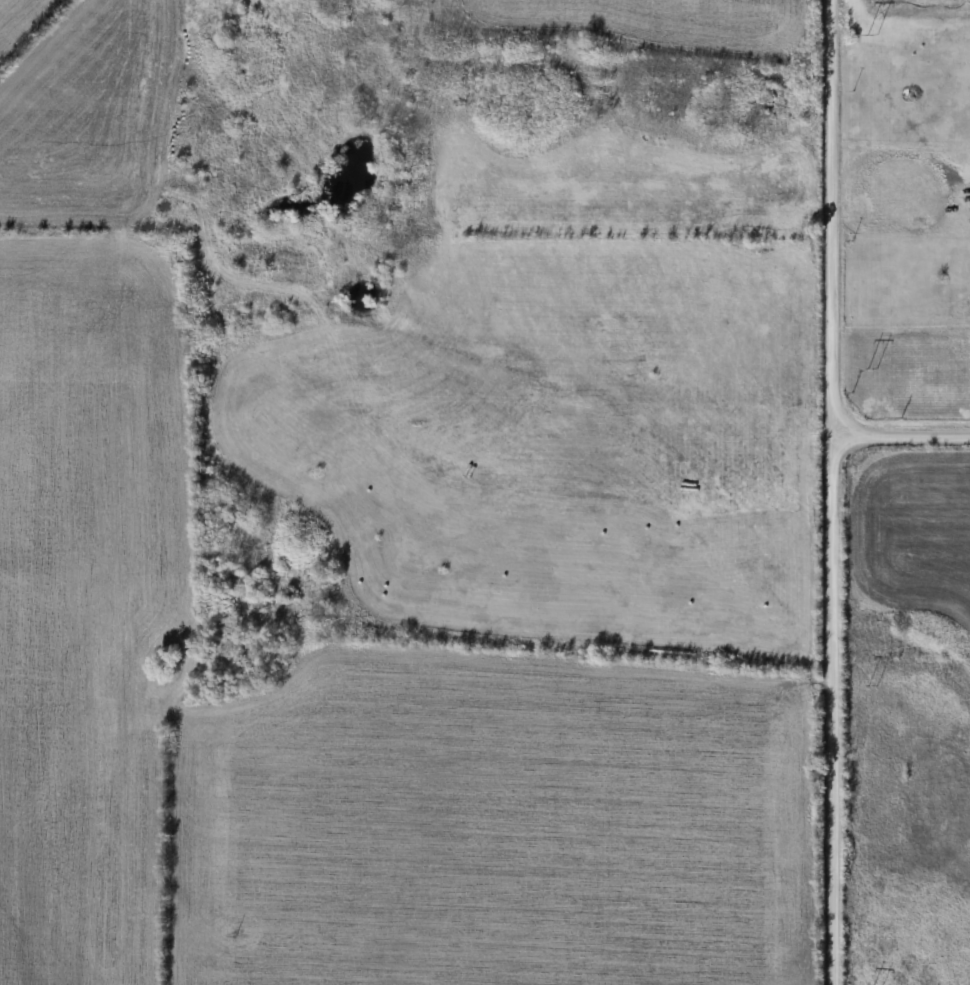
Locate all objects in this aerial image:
road: (899, 441)
road: (829, 492)

